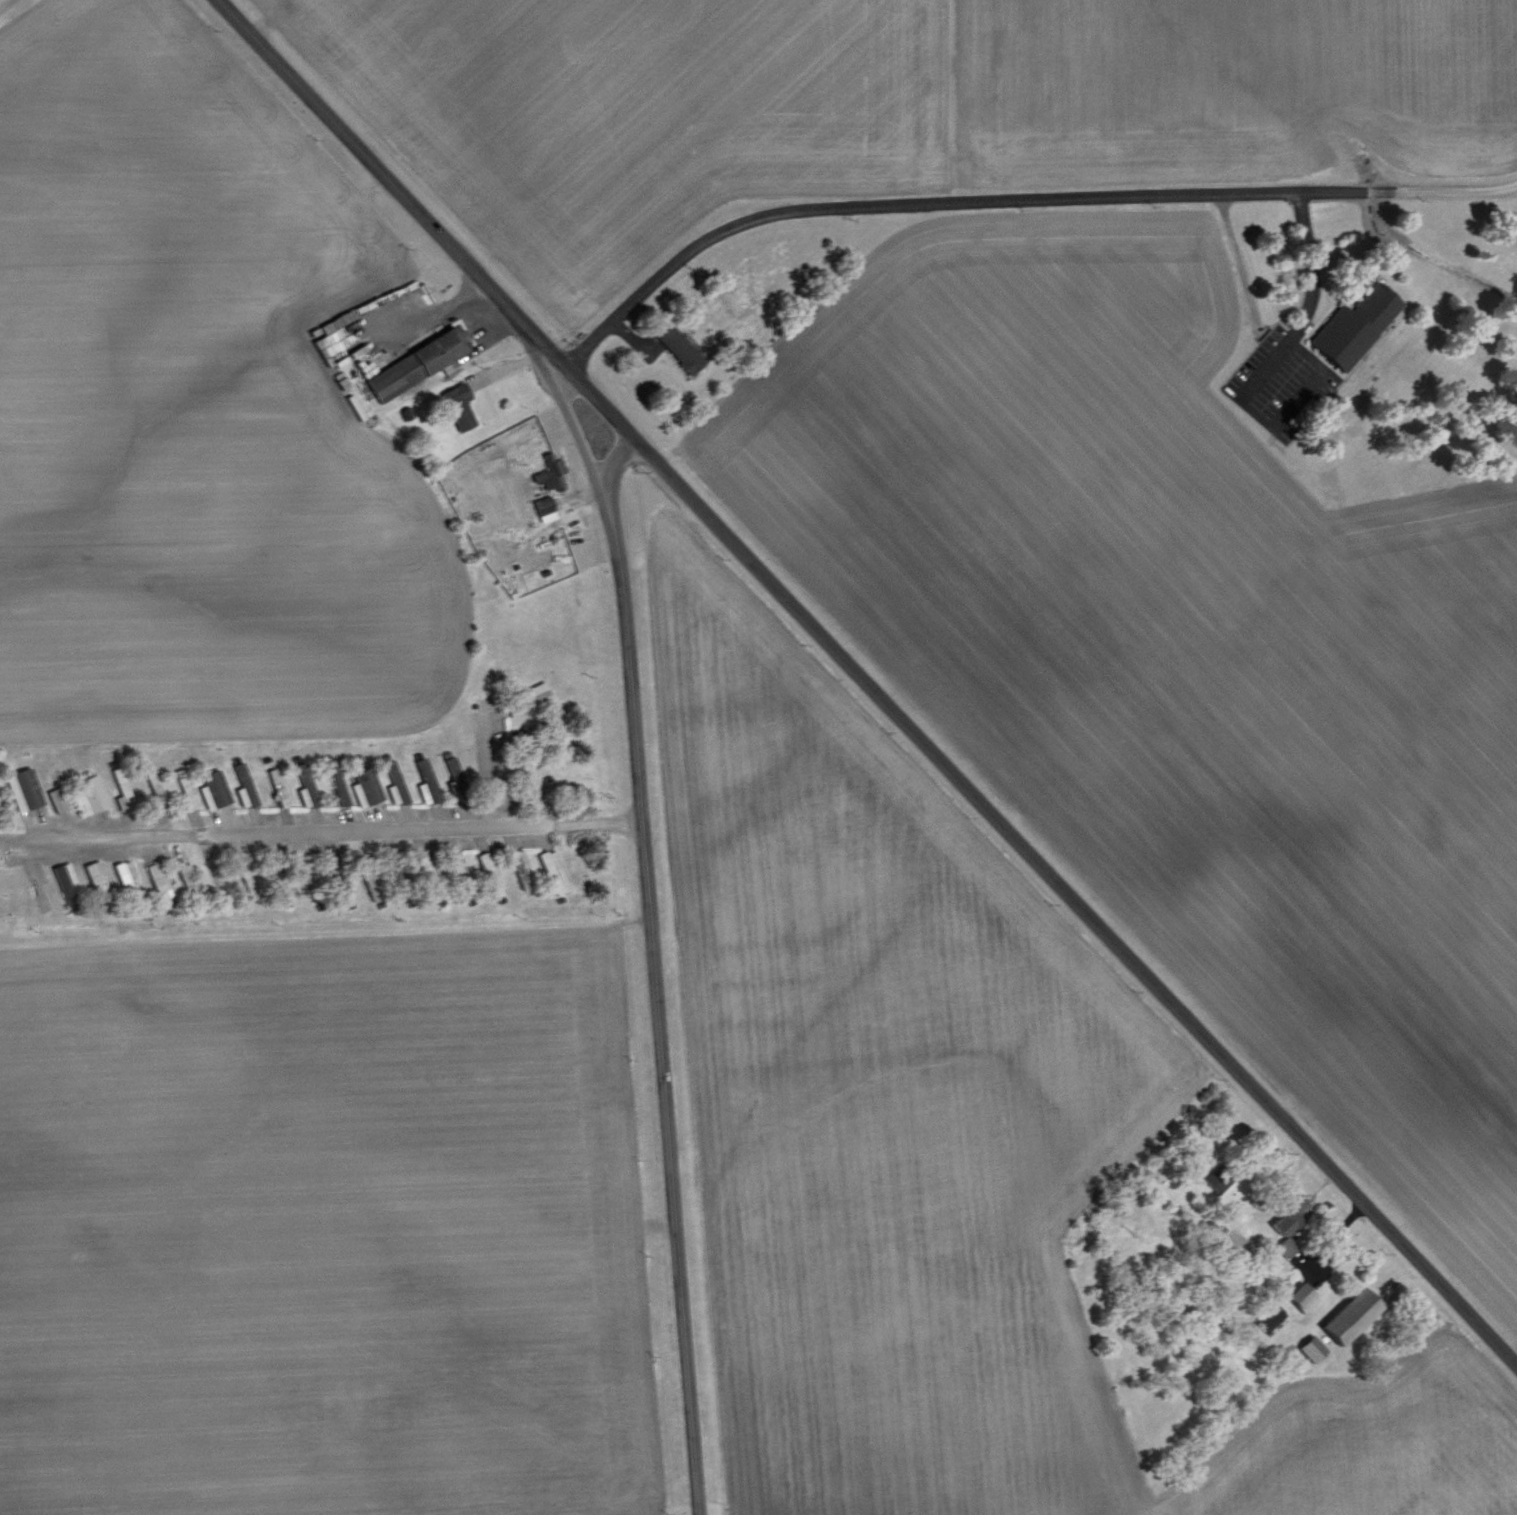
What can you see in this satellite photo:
road: (1013, 198)
building: (409, 289)
road: (1273, 321)
building: (1354, 324)
building: (335, 328)
building: (680, 347)
building: (419, 360)
building: (365, 364)
building: (459, 404)
road: (614, 456)
building: (549, 471)
building: (544, 507)
road: (866, 684)
building: (529, 699)
road: (485, 767)
building: (274, 778)
building: (425, 780)
building: (393, 781)
building: (305, 784)
building: (242, 785)
building: (364, 785)
building: (185, 786)
building: (23, 788)
building: (121, 788)
building: (213, 788)
building: (90, 793)
building: (57, 798)
road: (317, 830)
building: (486, 860)
building: (519, 866)
building: (553, 870)
building: (124, 872)
building: (187, 877)
building: (160, 881)
building: (65, 882)
road: (645, 934)
building: (1216, 1177)
building: (1287, 1226)
building: (1303, 1295)
building: (1353, 1314)
building: (1312, 1348)

